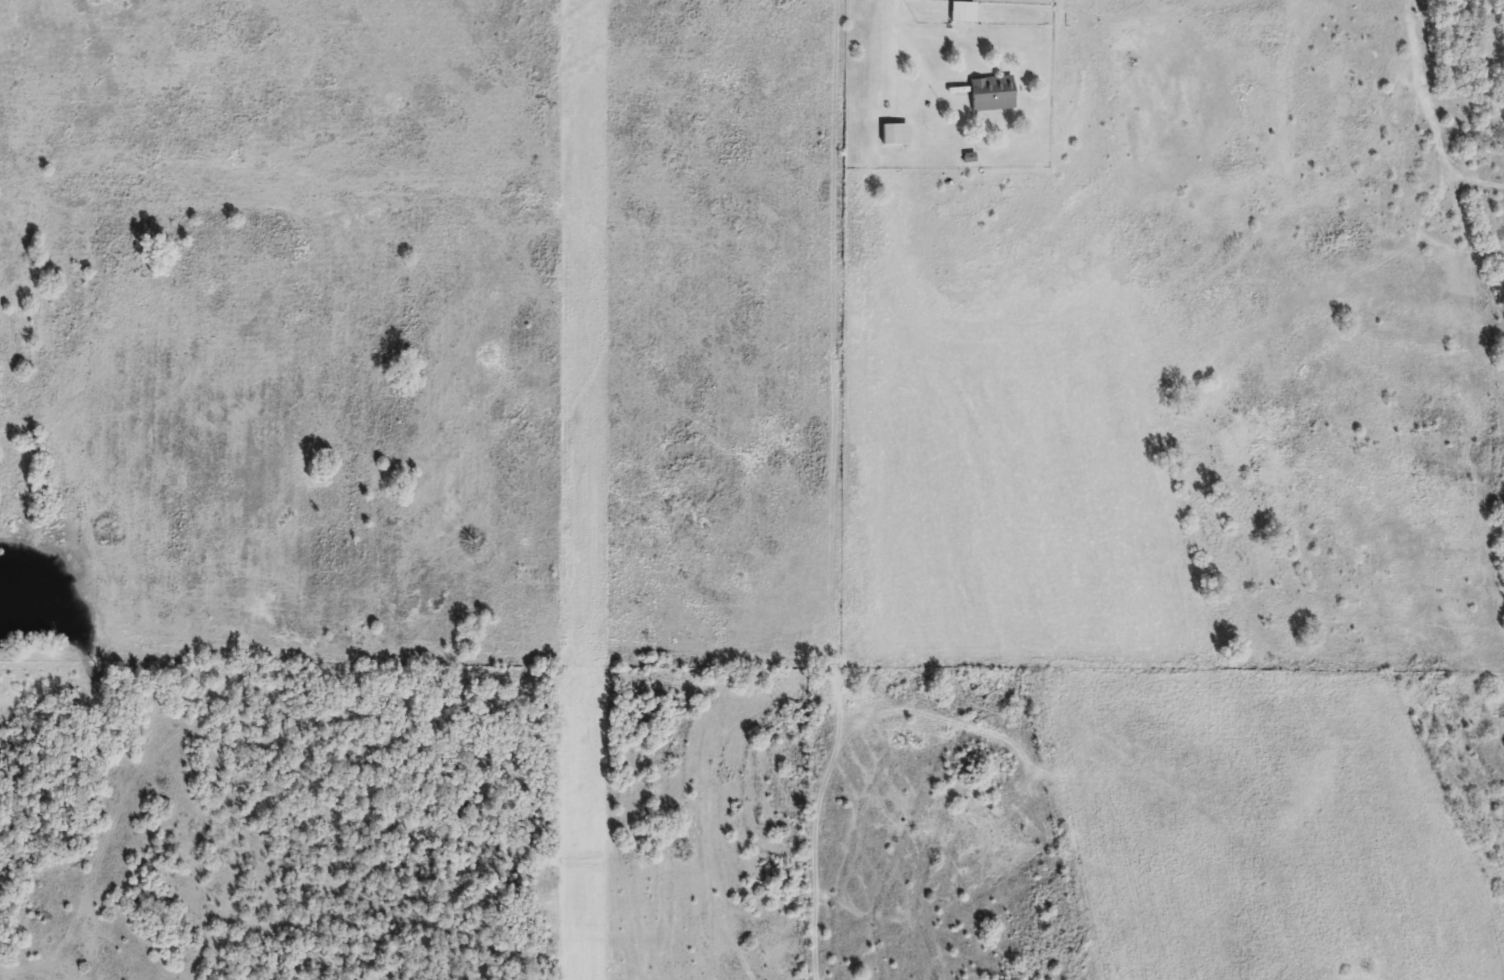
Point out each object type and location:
building: (963, 13)
road: (906, 38)
building: (991, 94)
building: (895, 135)

